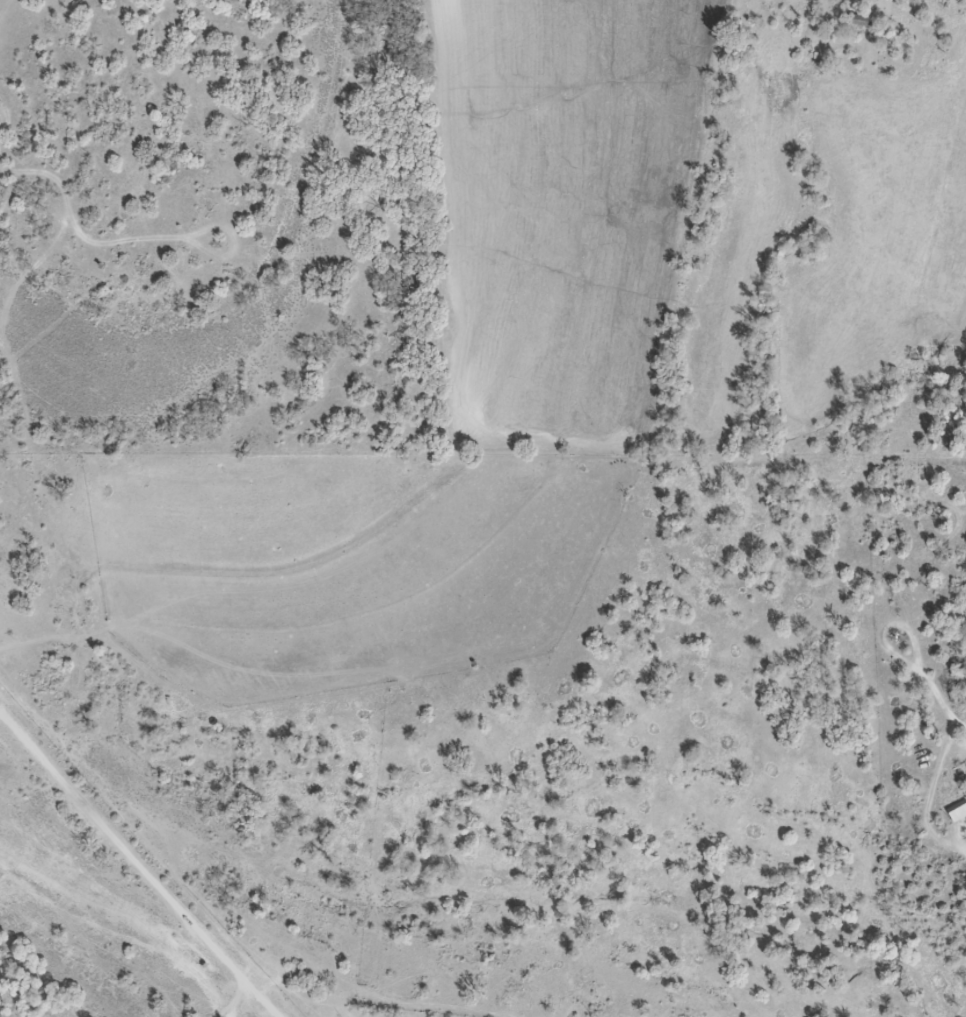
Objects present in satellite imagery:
road: (942, 696)
building: (961, 811)

